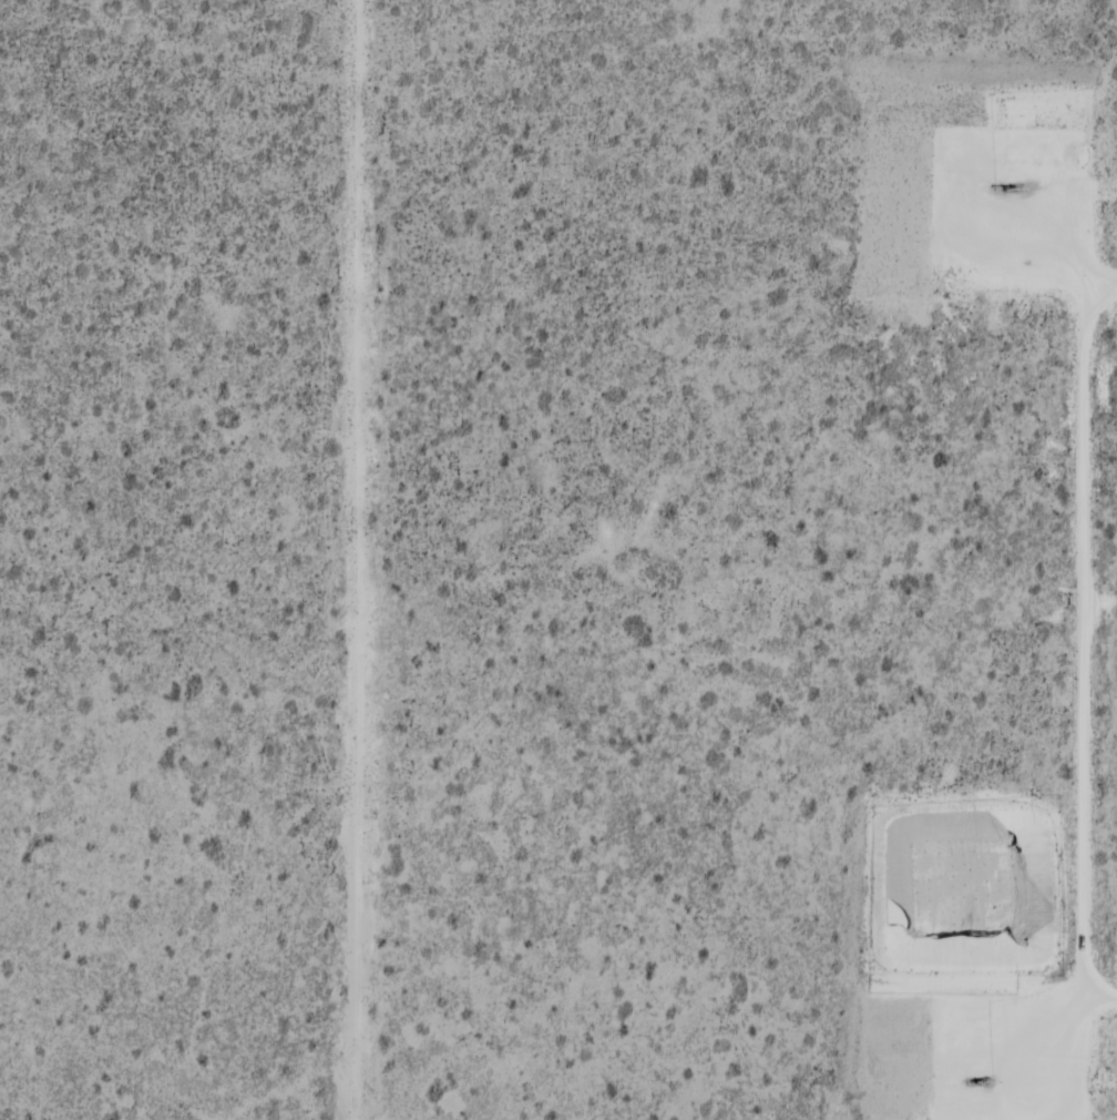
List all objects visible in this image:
road: (1078, 634)

